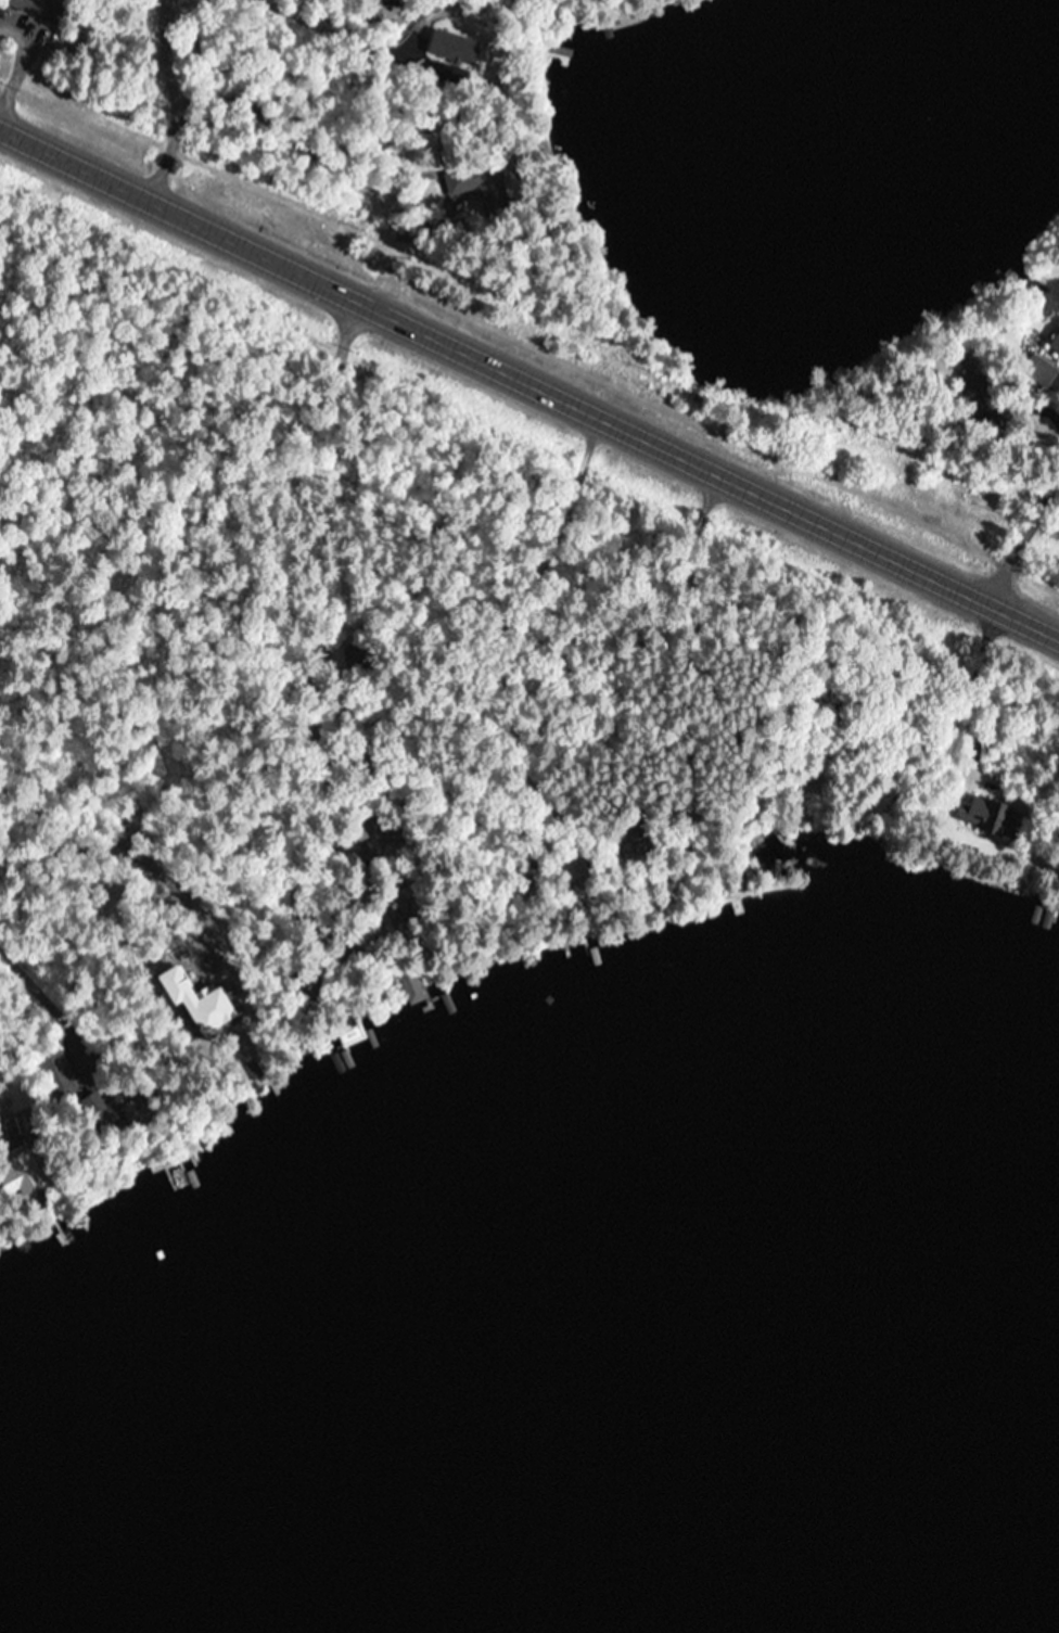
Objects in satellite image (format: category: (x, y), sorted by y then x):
building: (31, 9)
road: (493, 22)
building: (468, 176)
building: (1034, 284)
building: (1054, 345)
building: (1037, 370)
road: (528, 380)
building: (977, 394)
road: (1017, 532)
building: (988, 815)
building: (367, 828)
building: (572, 871)
building: (398, 904)
building: (410, 986)
building: (350, 1034)
building: (56, 1074)
road: (10, 1085)
building: (112, 1107)
building: (22, 1174)

